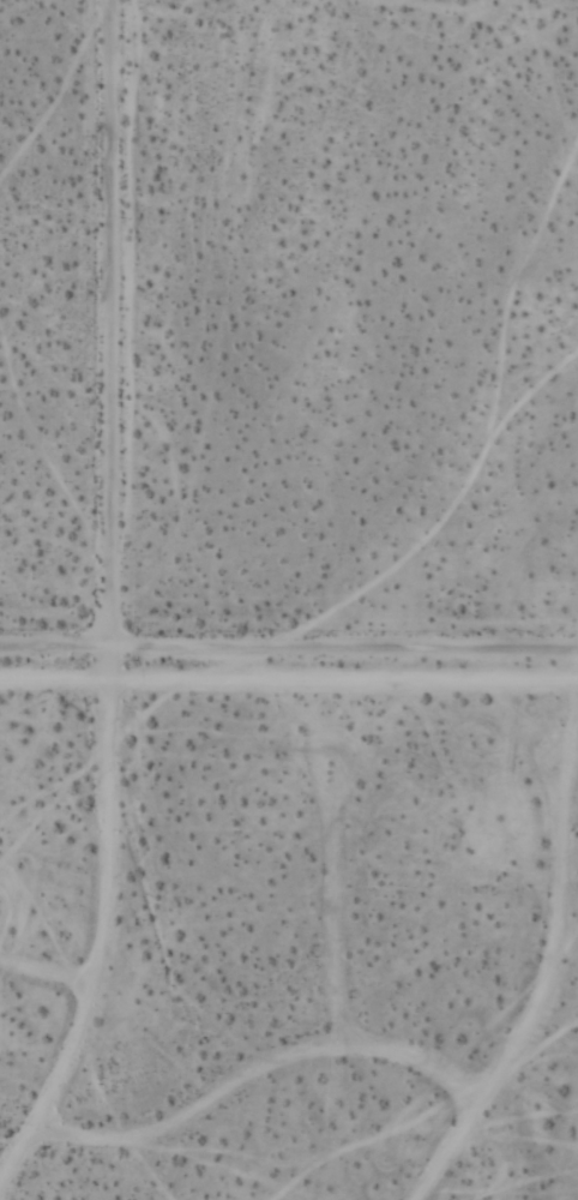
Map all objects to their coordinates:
road: (110, 325)
crop: (289, 600)
road: (289, 650)
road: (108, 666)
road: (288, 684)
road: (332, 919)
road: (96, 943)
road: (42, 982)
road: (540, 1002)
road: (252, 1078)

